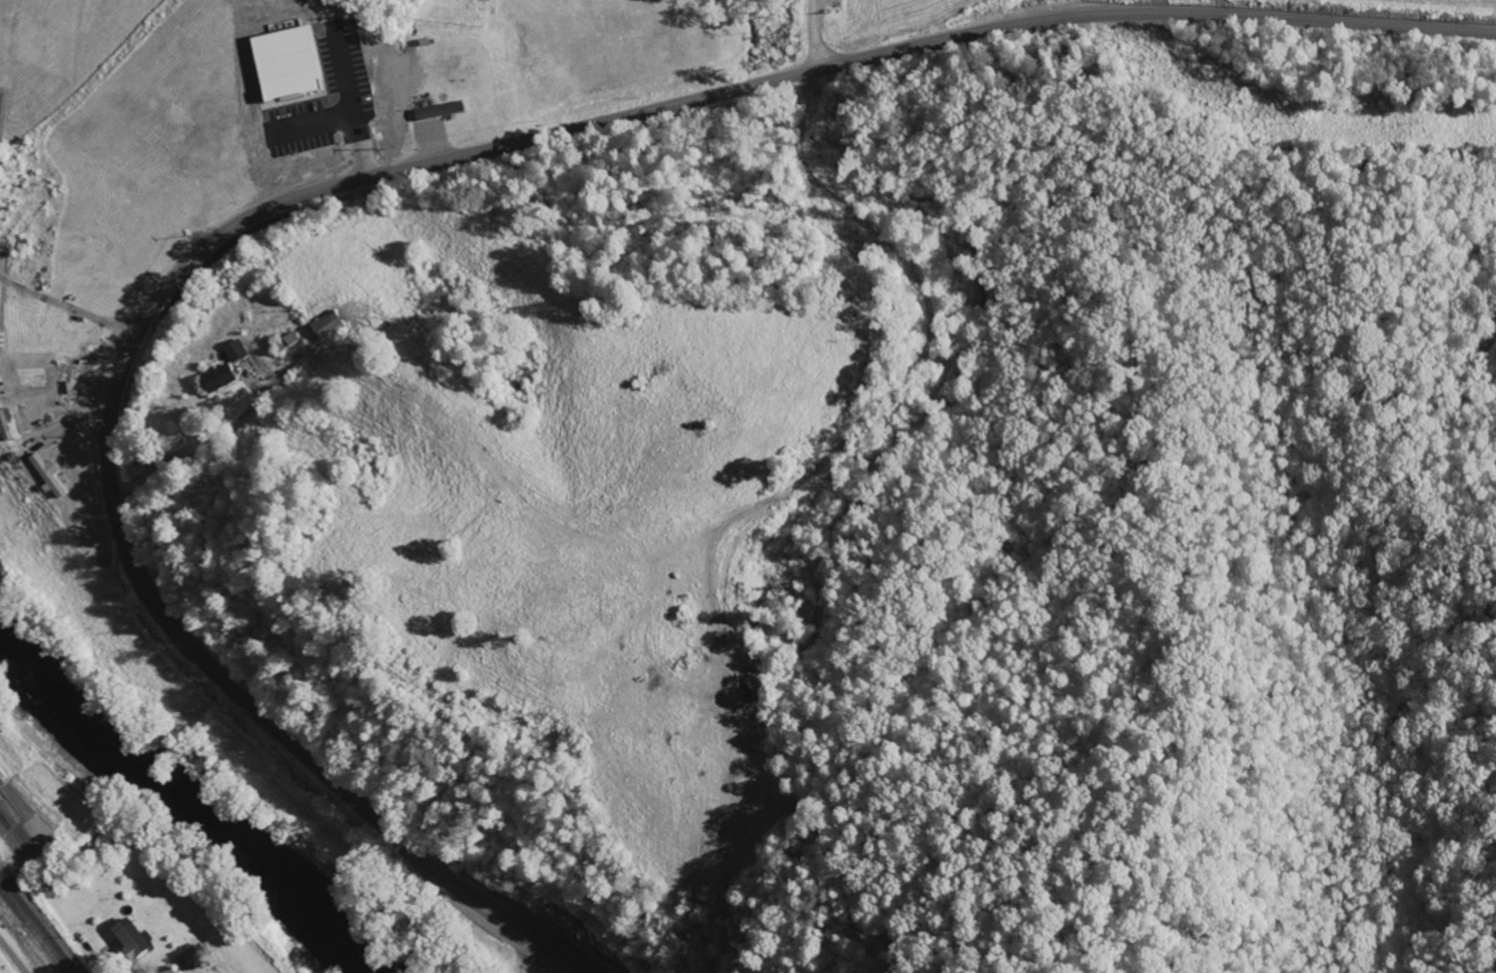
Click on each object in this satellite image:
road: (811, 35)
road: (370, 176)
building: (328, 328)
building: (288, 344)
building: (6, 426)
building: (49, 477)
building: (756, 689)
river: (175, 806)
railway: (38, 922)
building: (127, 938)
road: (12, 957)

